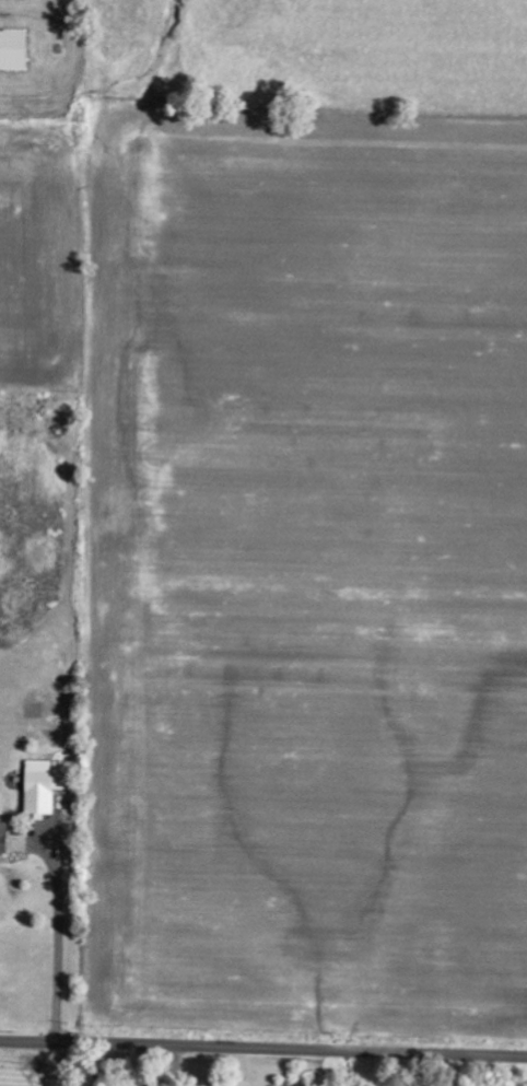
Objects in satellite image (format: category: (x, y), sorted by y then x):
building: (13, 50)
building: (43, 791)
building: (3, 841)
road: (263, 1049)

